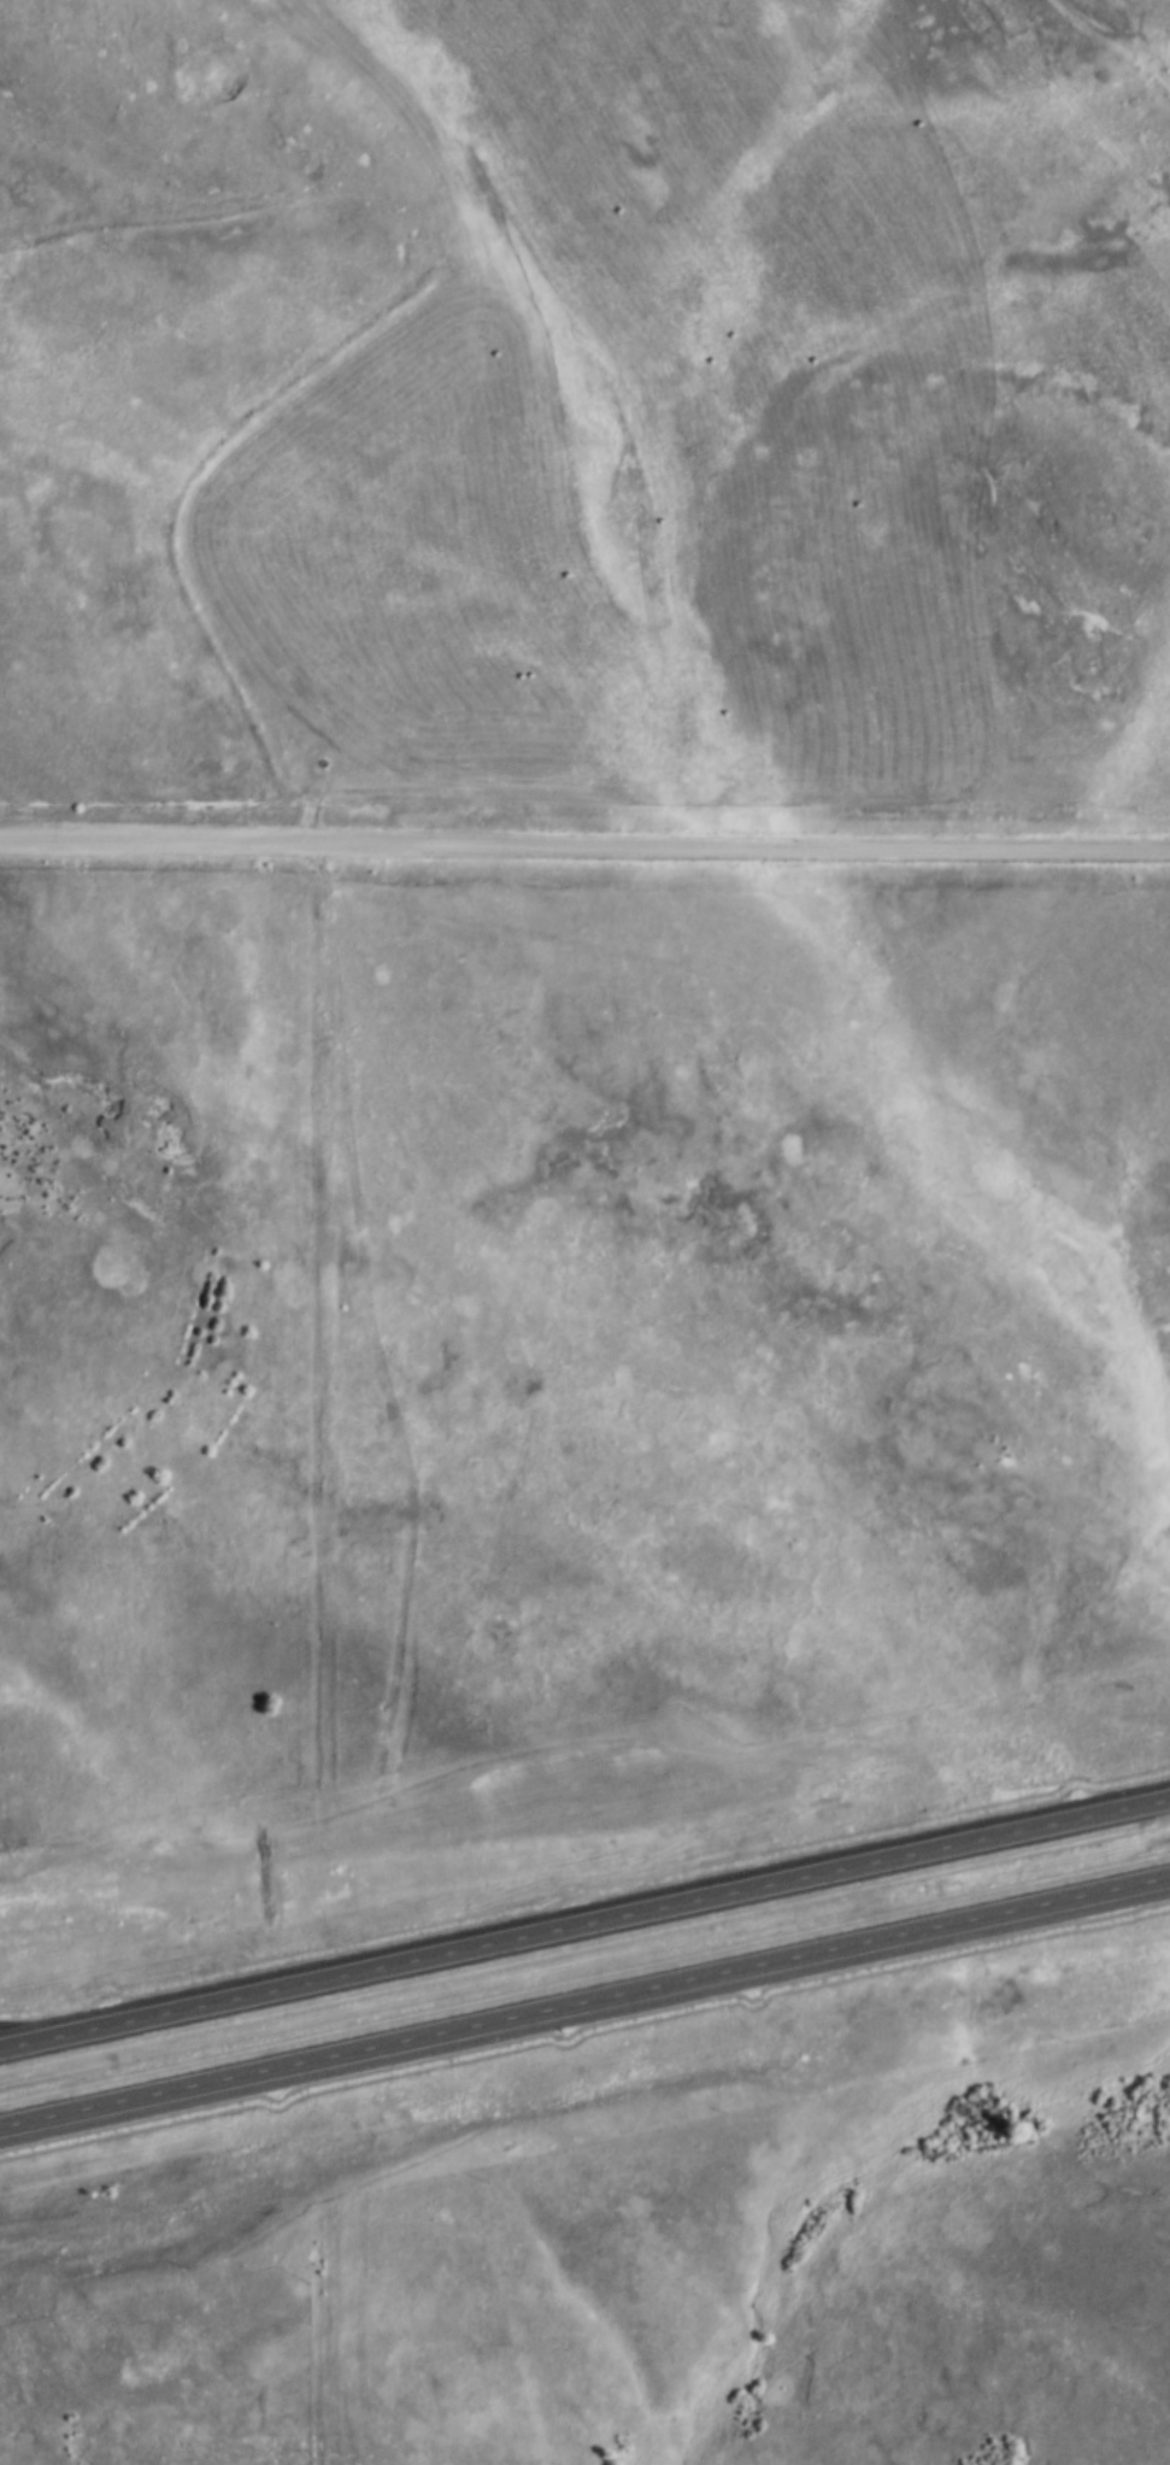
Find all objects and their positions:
road: (584, 853)
road: (584, 1933)
road: (584, 2008)

